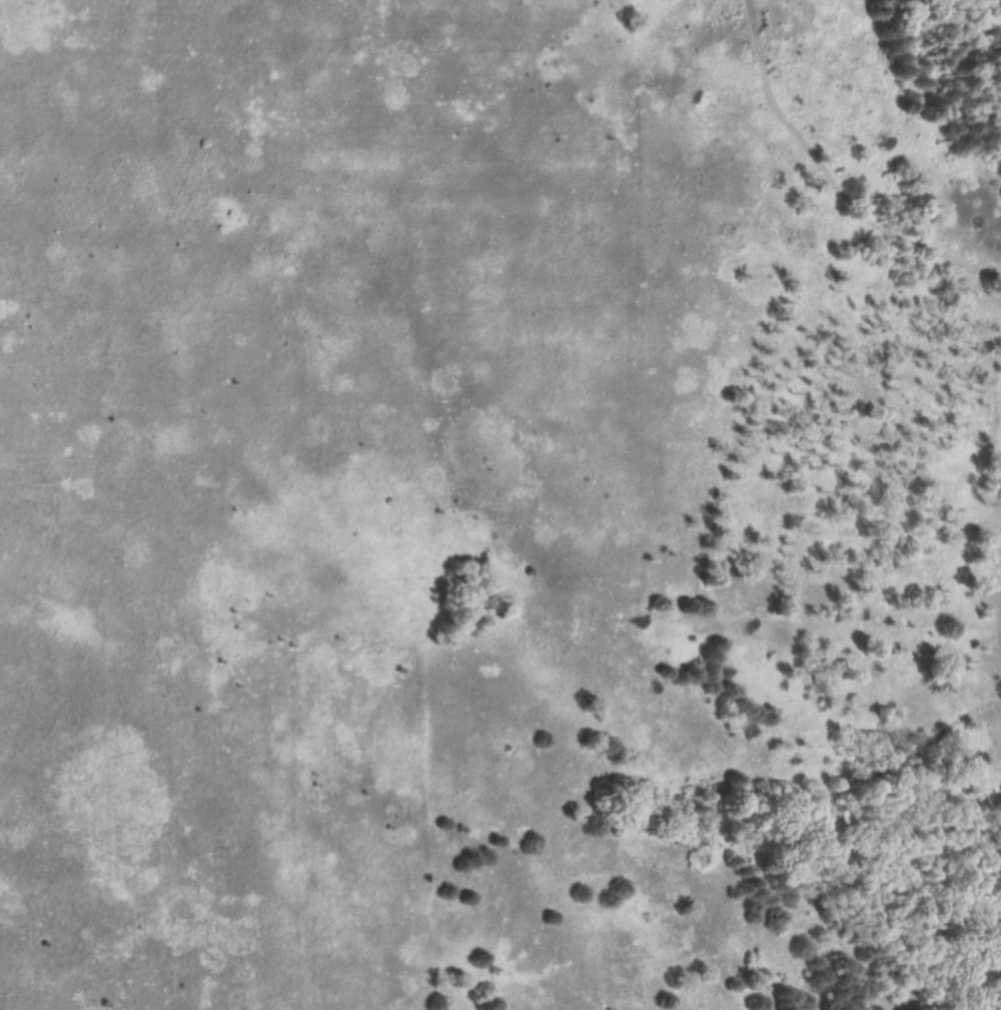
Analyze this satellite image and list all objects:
road: (832, 176)
park: (500, 505)
road: (832, 814)
road: (919, 854)

